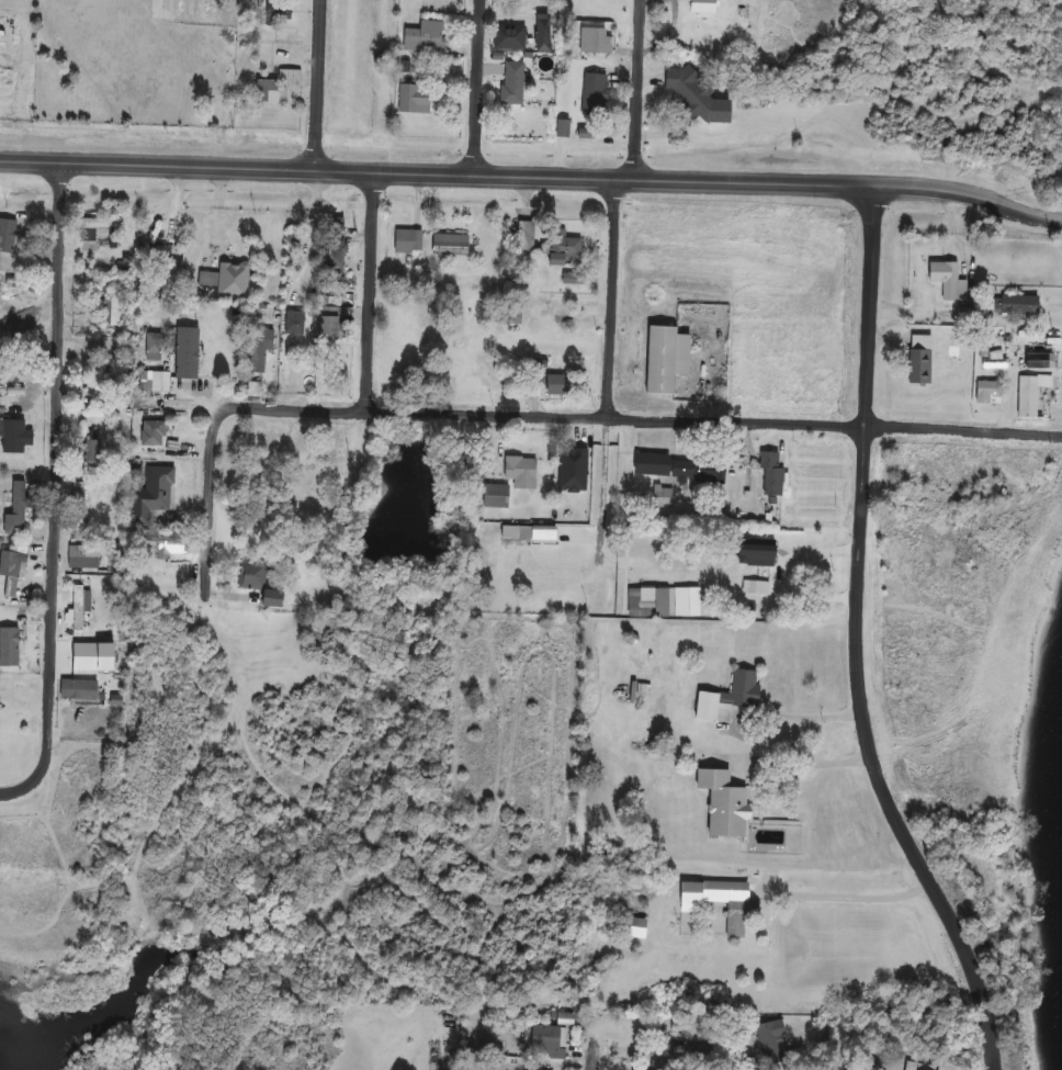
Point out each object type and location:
building: (279, 11)
building: (426, 37)
building: (592, 40)
building: (707, 41)
building: (512, 82)
road: (316, 83)
road: (476, 86)
road: (636, 87)
building: (271, 92)
building: (594, 94)
building: (414, 97)
building: (714, 112)
road: (533, 173)
building: (155, 218)
building: (100, 223)
building: (337, 225)
building: (8, 235)
building: (526, 237)
building: (408, 241)
building: (450, 245)
building: (563, 251)
building: (335, 258)
building: (947, 280)
building: (226, 282)
road: (370, 288)
building: (1019, 305)
building: (112, 307)
building: (331, 322)
building: (295, 323)
building: (233, 325)
building: (154, 346)
building: (259, 349)
building: (667, 358)
building: (922, 360)
building: (201, 369)
building: (98, 372)
building: (159, 382)
building: (560, 384)
building: (253, 388)
building: (15, 391)
building: (990, 392)
building: (1031, 393)
road: (605, 394)
road: (372, 407)
road: (899, 424)
building: (154, 432)
building: (16, 436)
building: (93, 450)
road: (349, 462)
building: (682, 466)
building: (522, 471)
building: (772, 474)
road: (53, 489)
building: (152, 494)
building: (497, 495)
building: (664, 496)
building: (301, 497)
building: (78, 504)
building: (16, 505)
building: (165, 542)
building: (755, 550)
building: (83, 556)
building: (10, 571)
road: (778, 576)
building: (260, 581)
building: (756, 590)
building: (648, 601)
building: (77, 608)
road: (855, 641)
building: (10, 645)
building: (95, 655)
building: (80, 690)
building: (731, 696)
building: (15, 707)
road: (801, 714)
road: (795, 759)
building: (725, 802)
road: (847, 897)
building: (743, 910)
building: (771, 1040)
building: (549, 1041)
building: (691, 1051)
road: (845, 1056)
road: (586, 1061)

